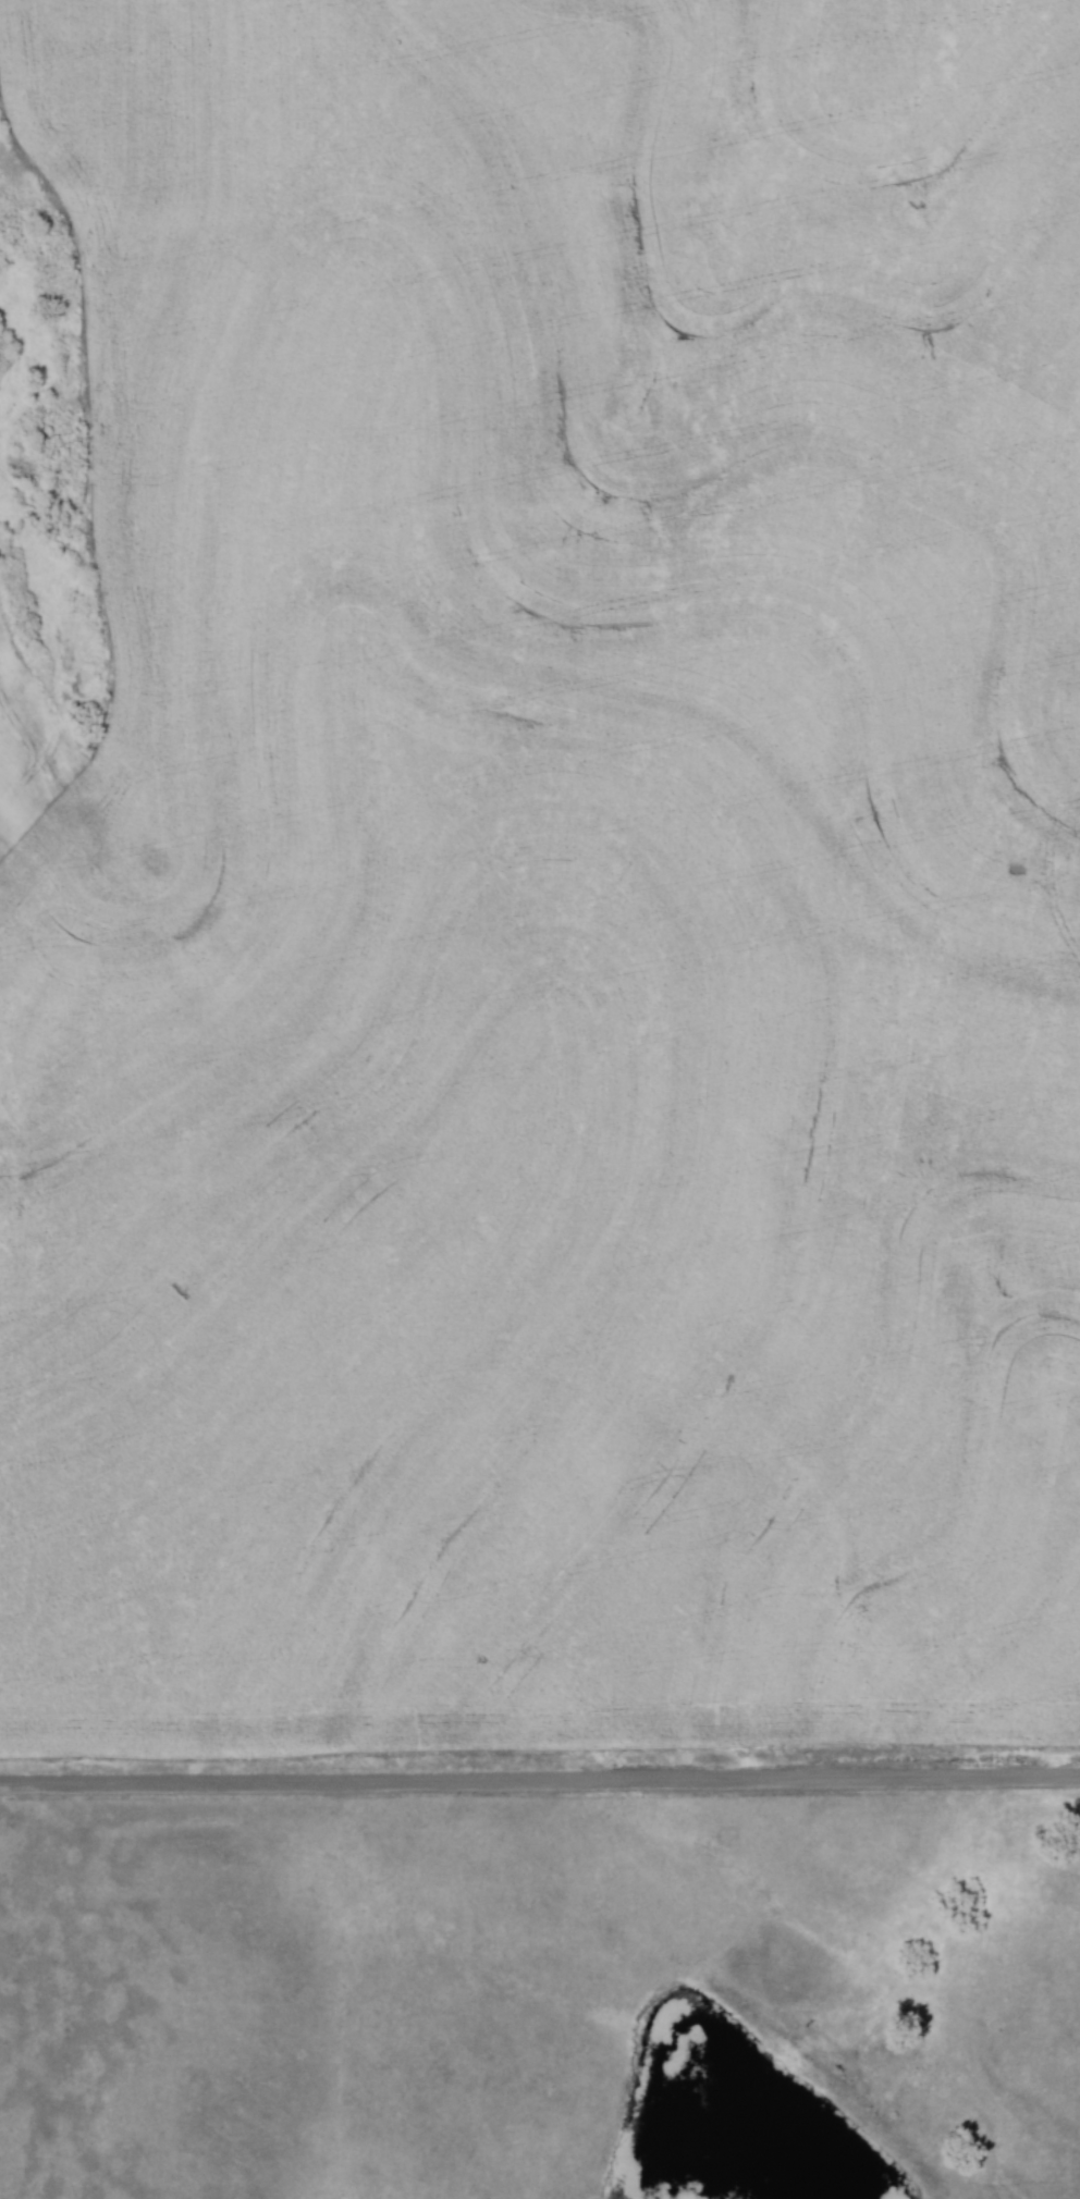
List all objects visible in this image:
road: (540, 1778)

